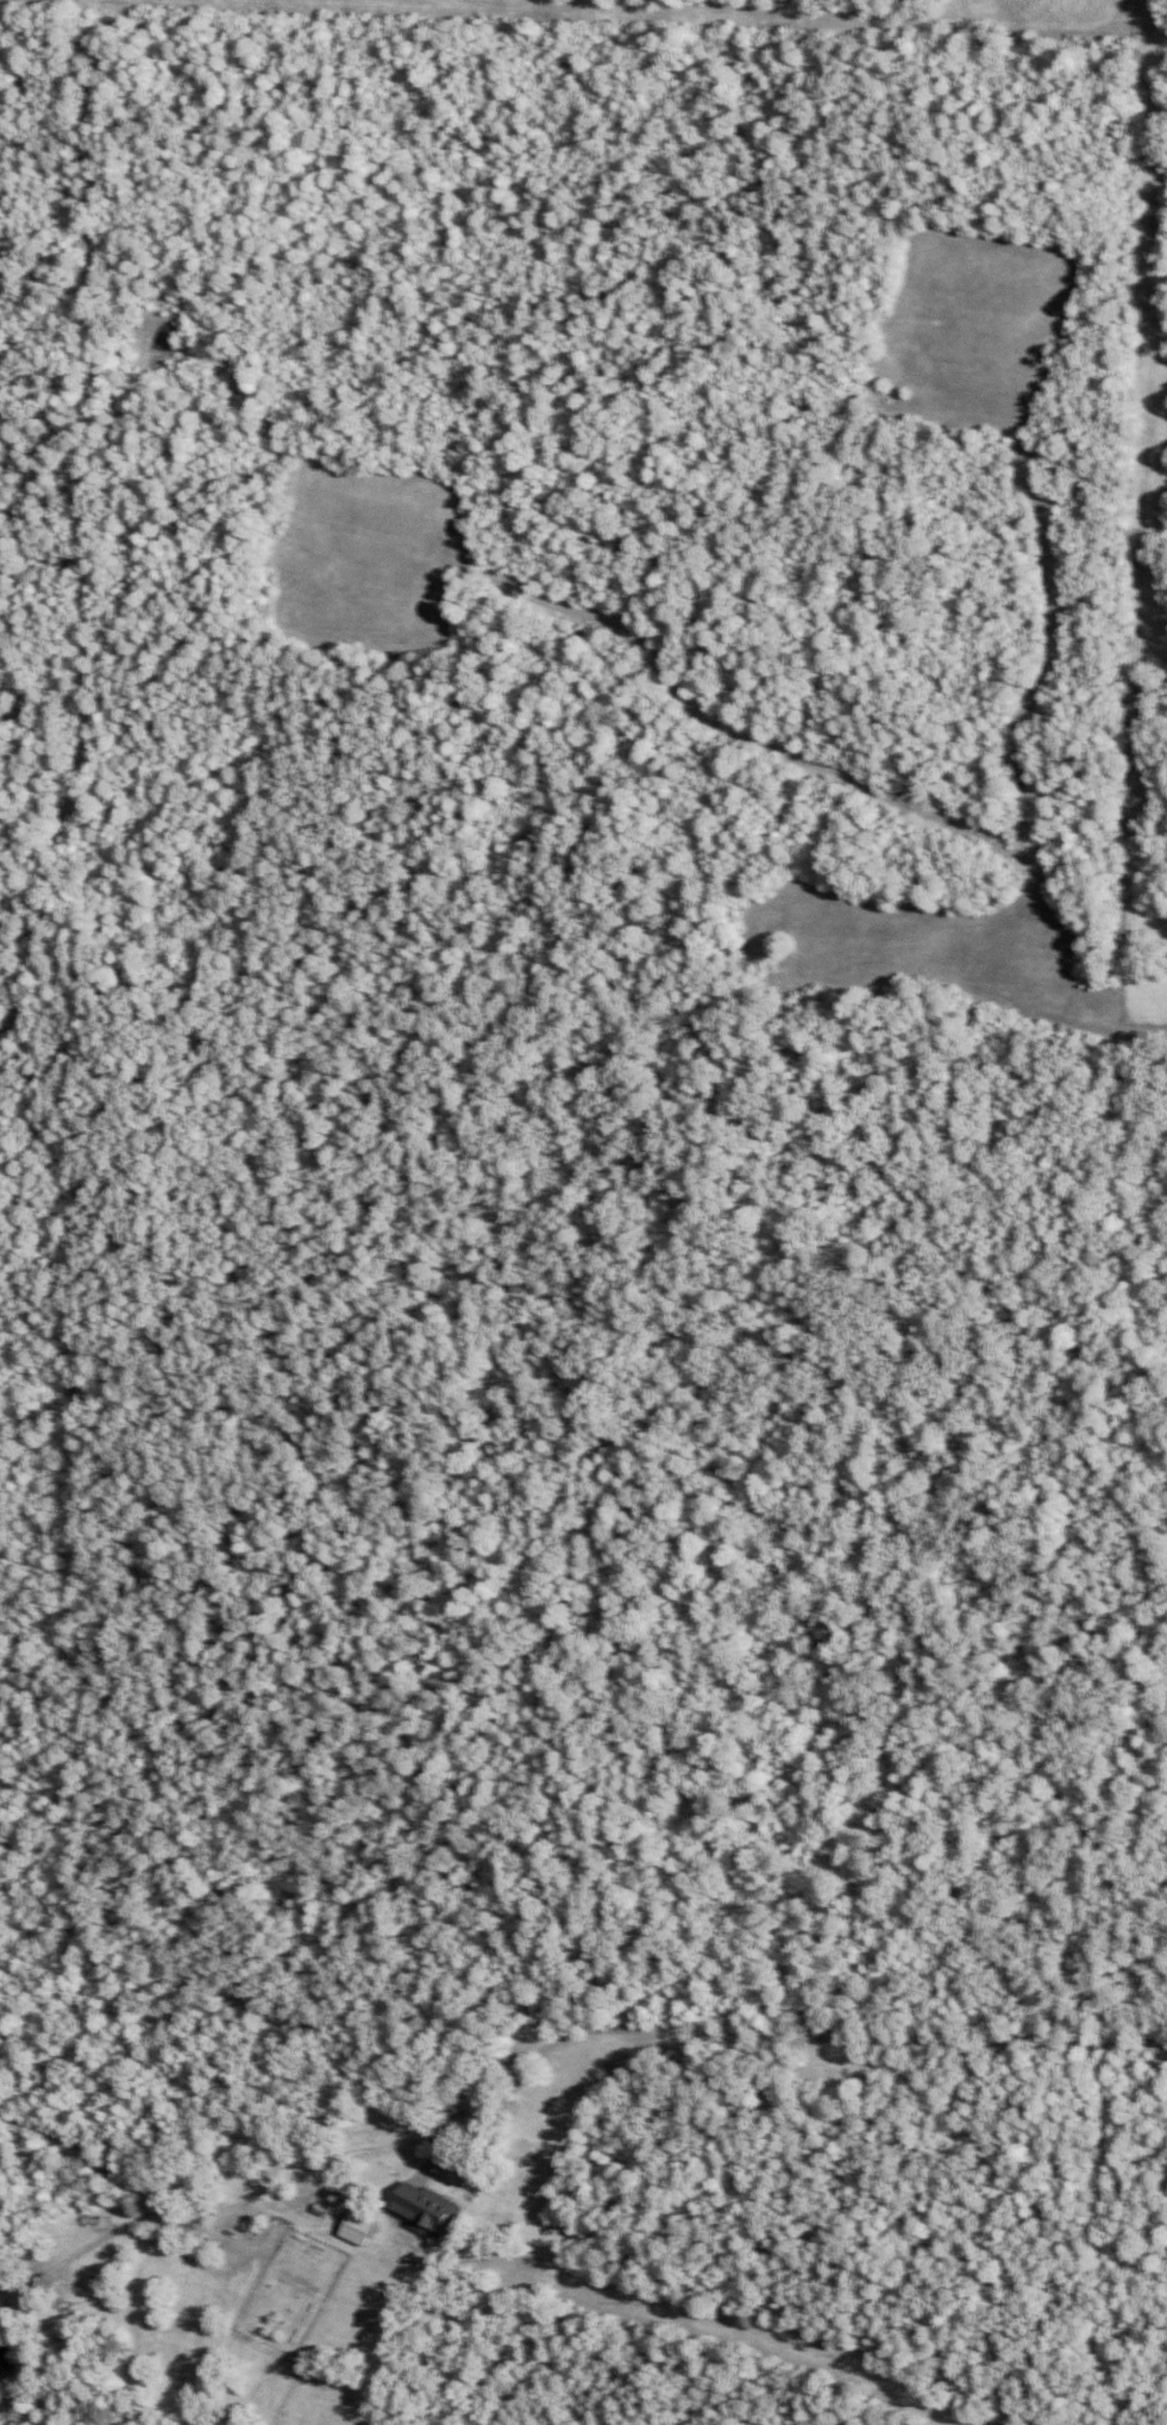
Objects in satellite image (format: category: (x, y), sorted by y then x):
road: (922, 2035)
building: (426, 2212)
building: (356, 2235)

